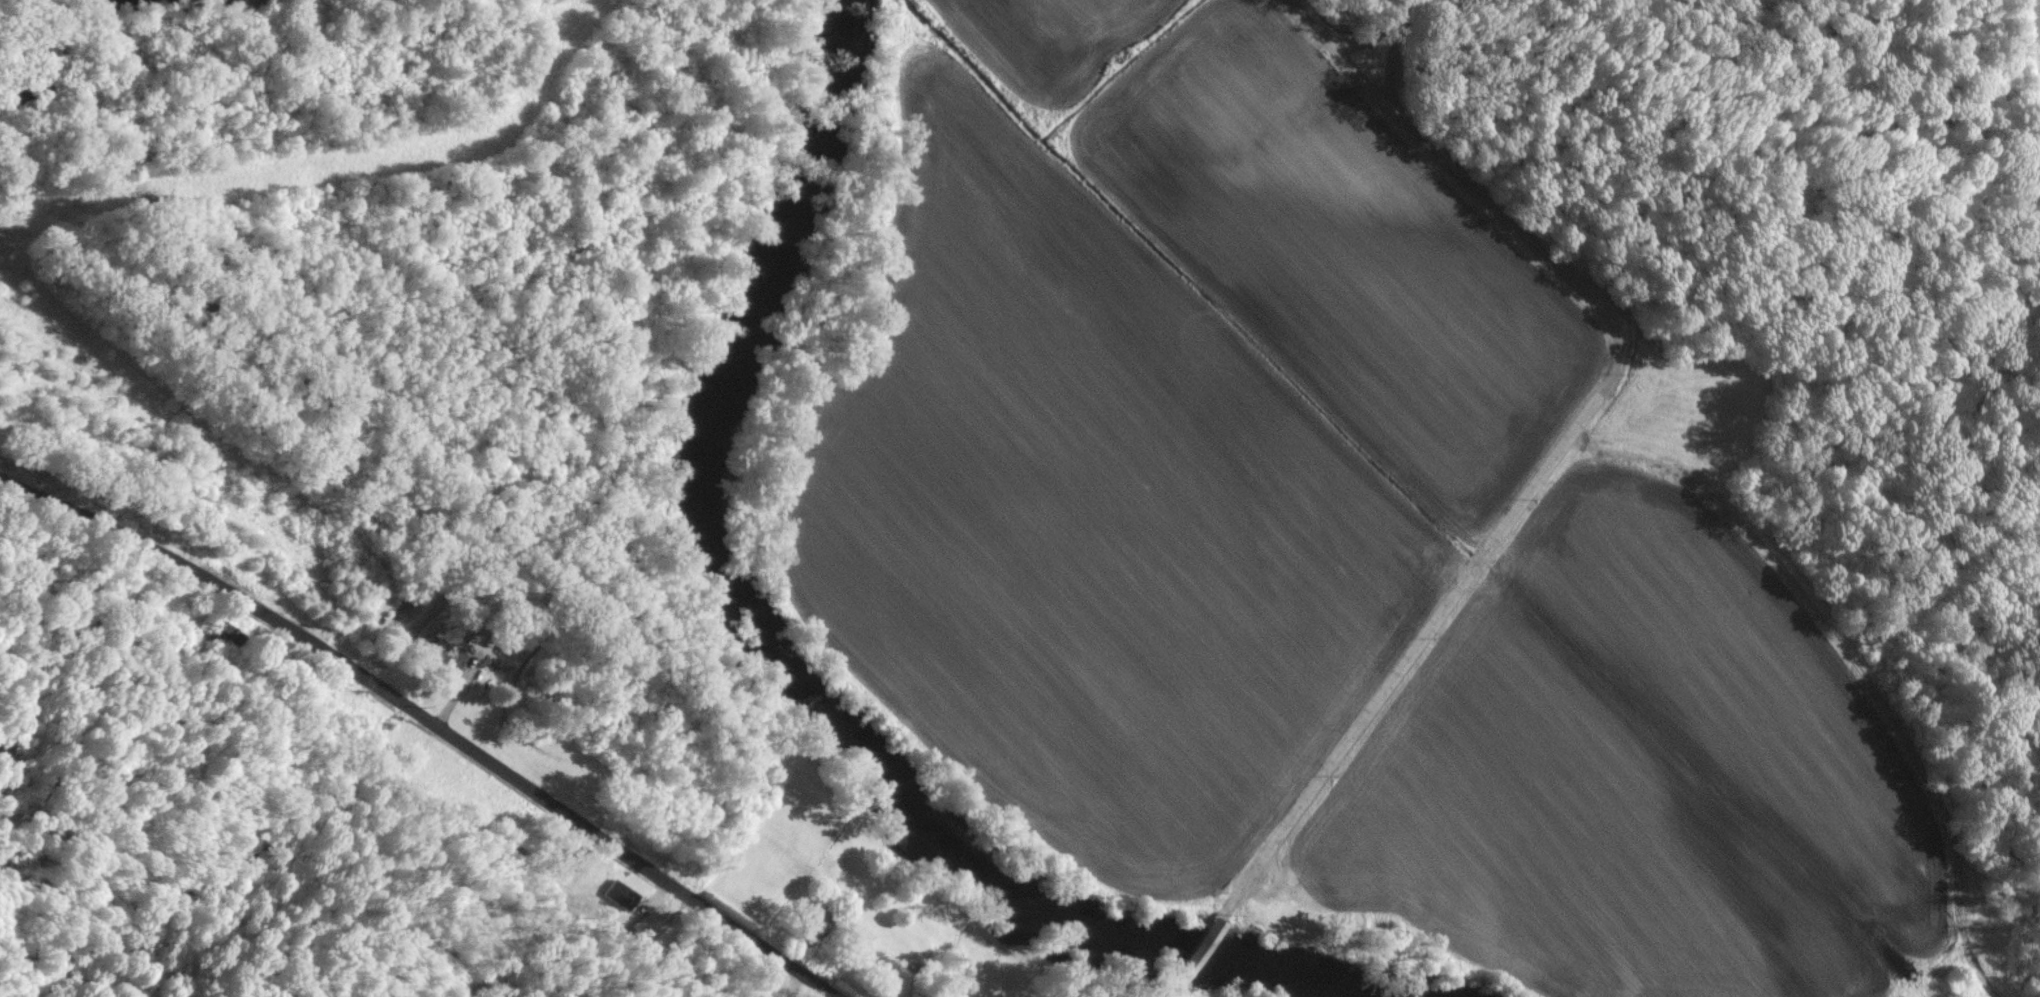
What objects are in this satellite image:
road: (1325, 35)
road: (1382, 35)
road: (1512, 225)
river: (731, 603)
building: (424, 650)
road: (1408, 652)
road: (421, 724)
building: (619, 894)
building: (645, 924)
road: (1192, 957)
river: (1297, 976)

